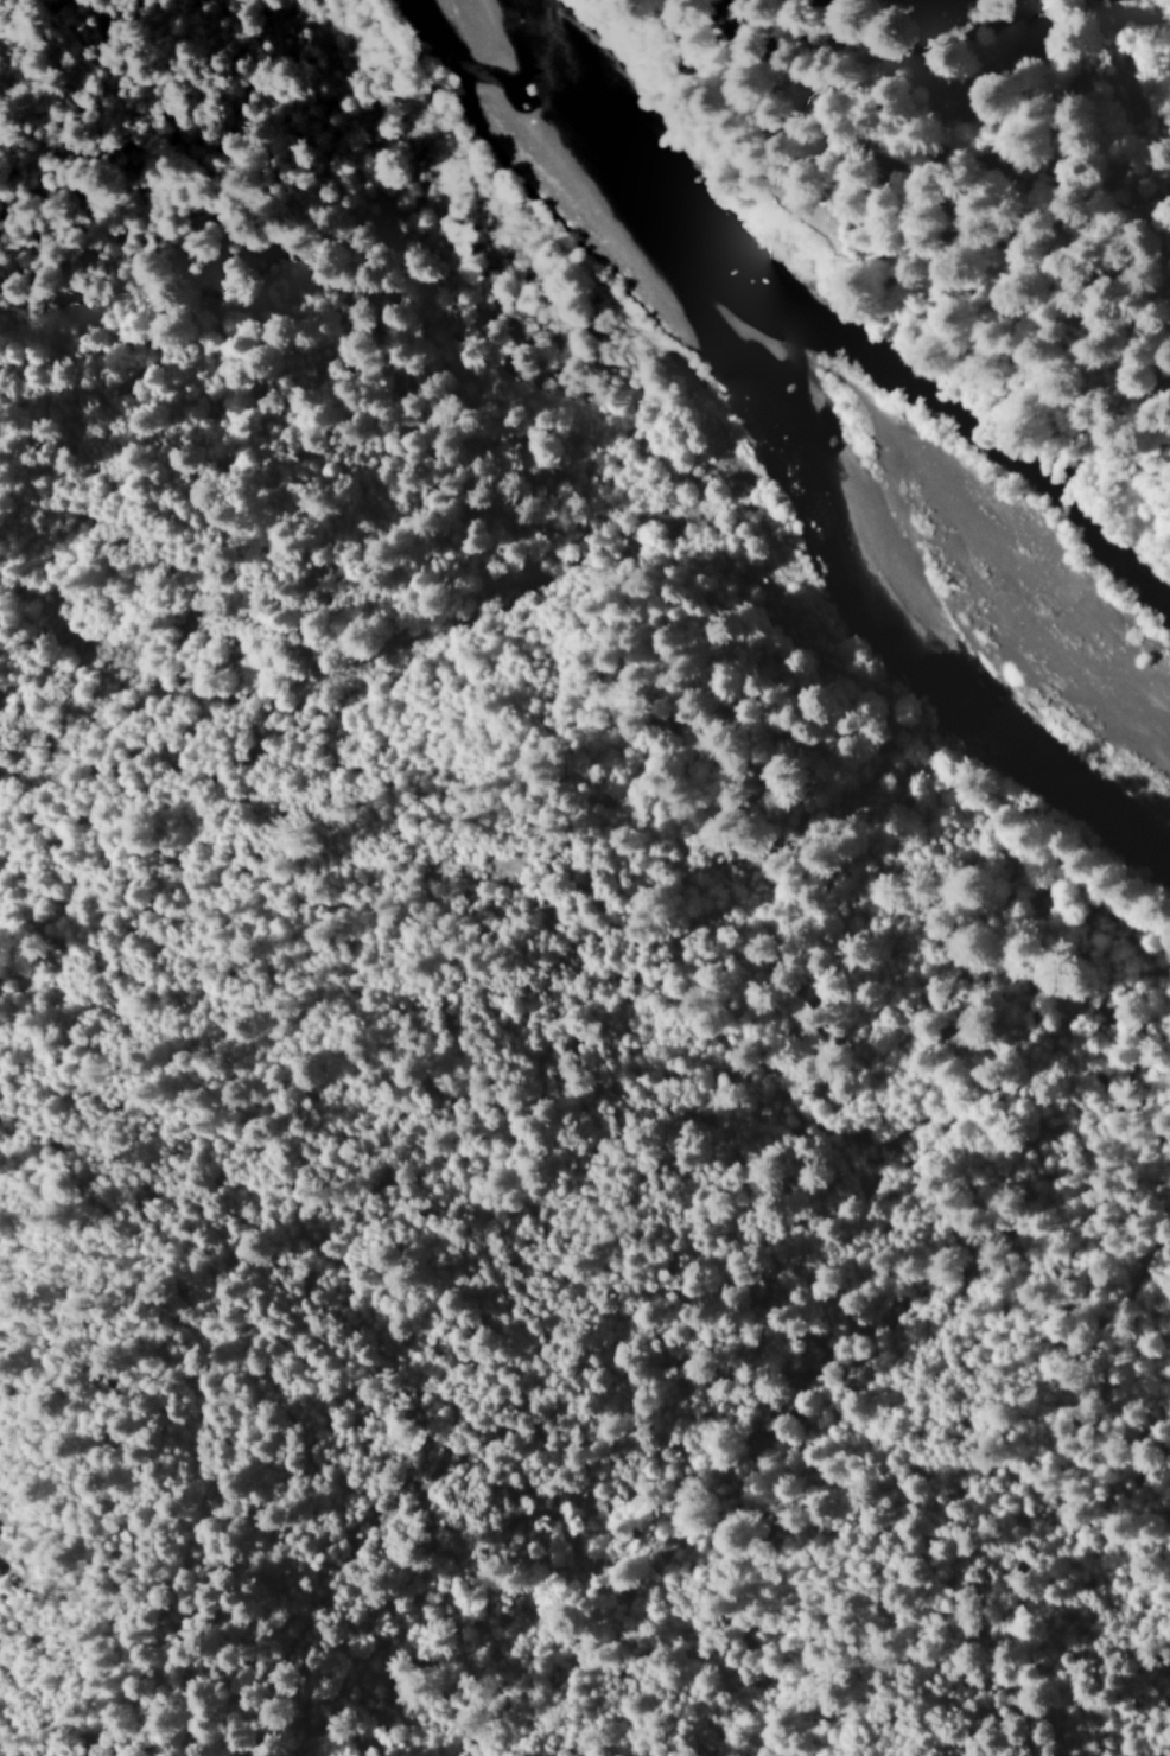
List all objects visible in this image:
road: (1140, 9)
river: (973, 389)

